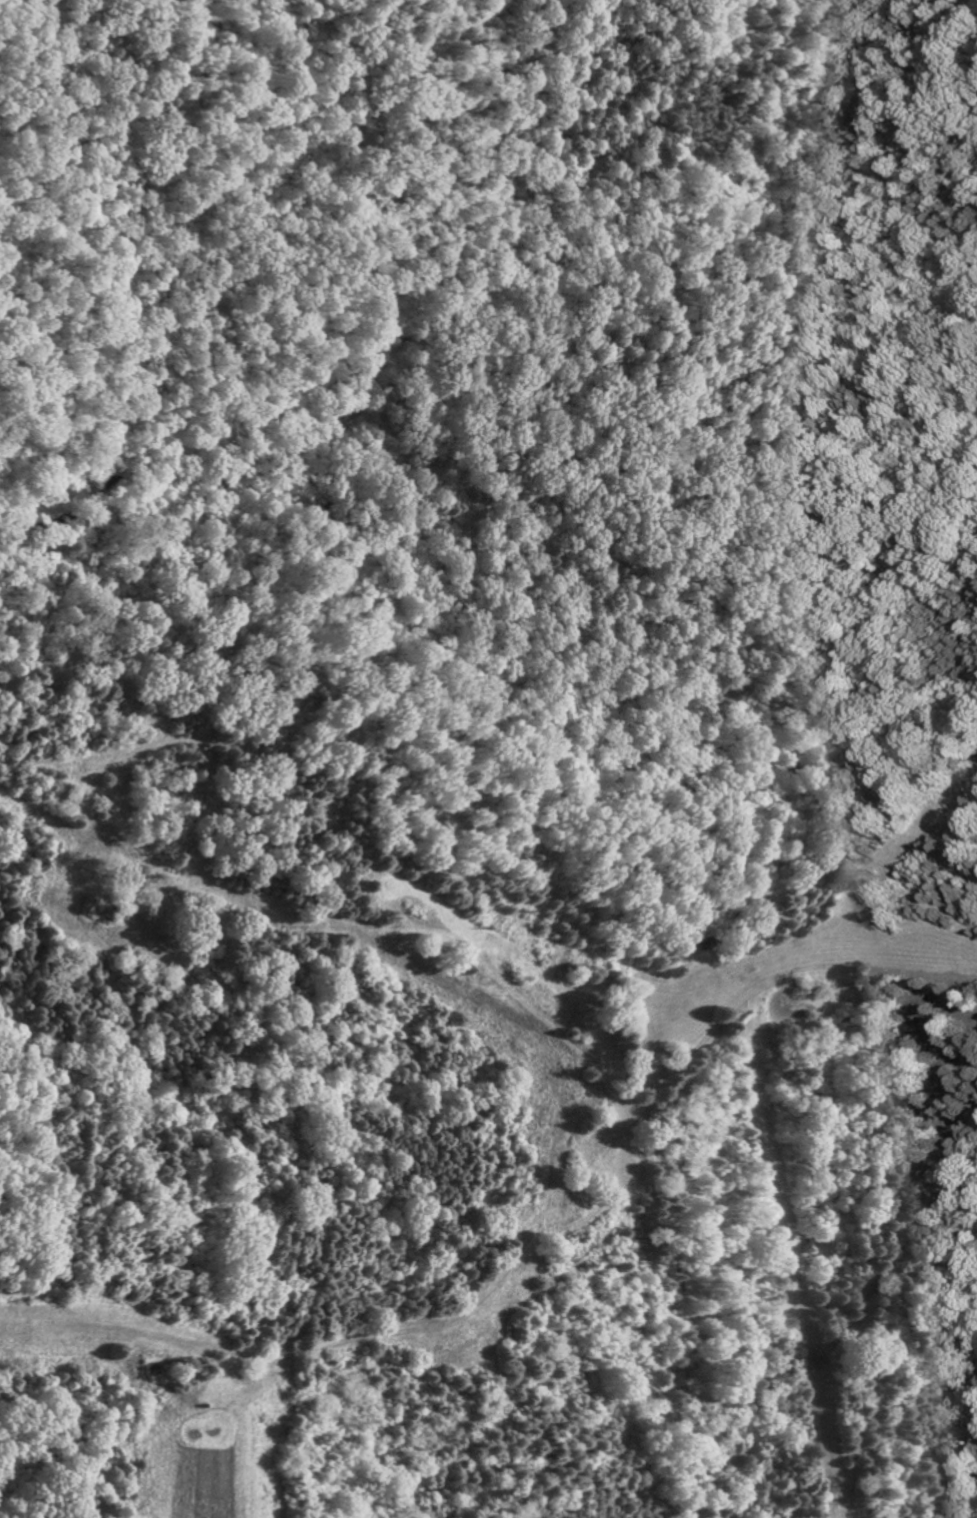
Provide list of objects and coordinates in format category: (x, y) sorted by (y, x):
road: (699, 1031)

